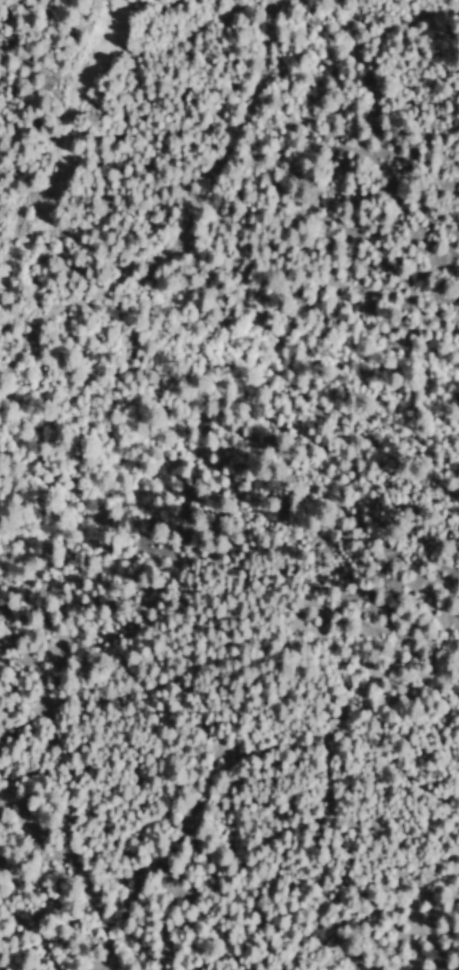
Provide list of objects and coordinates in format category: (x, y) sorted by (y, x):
road: (176, 211)

